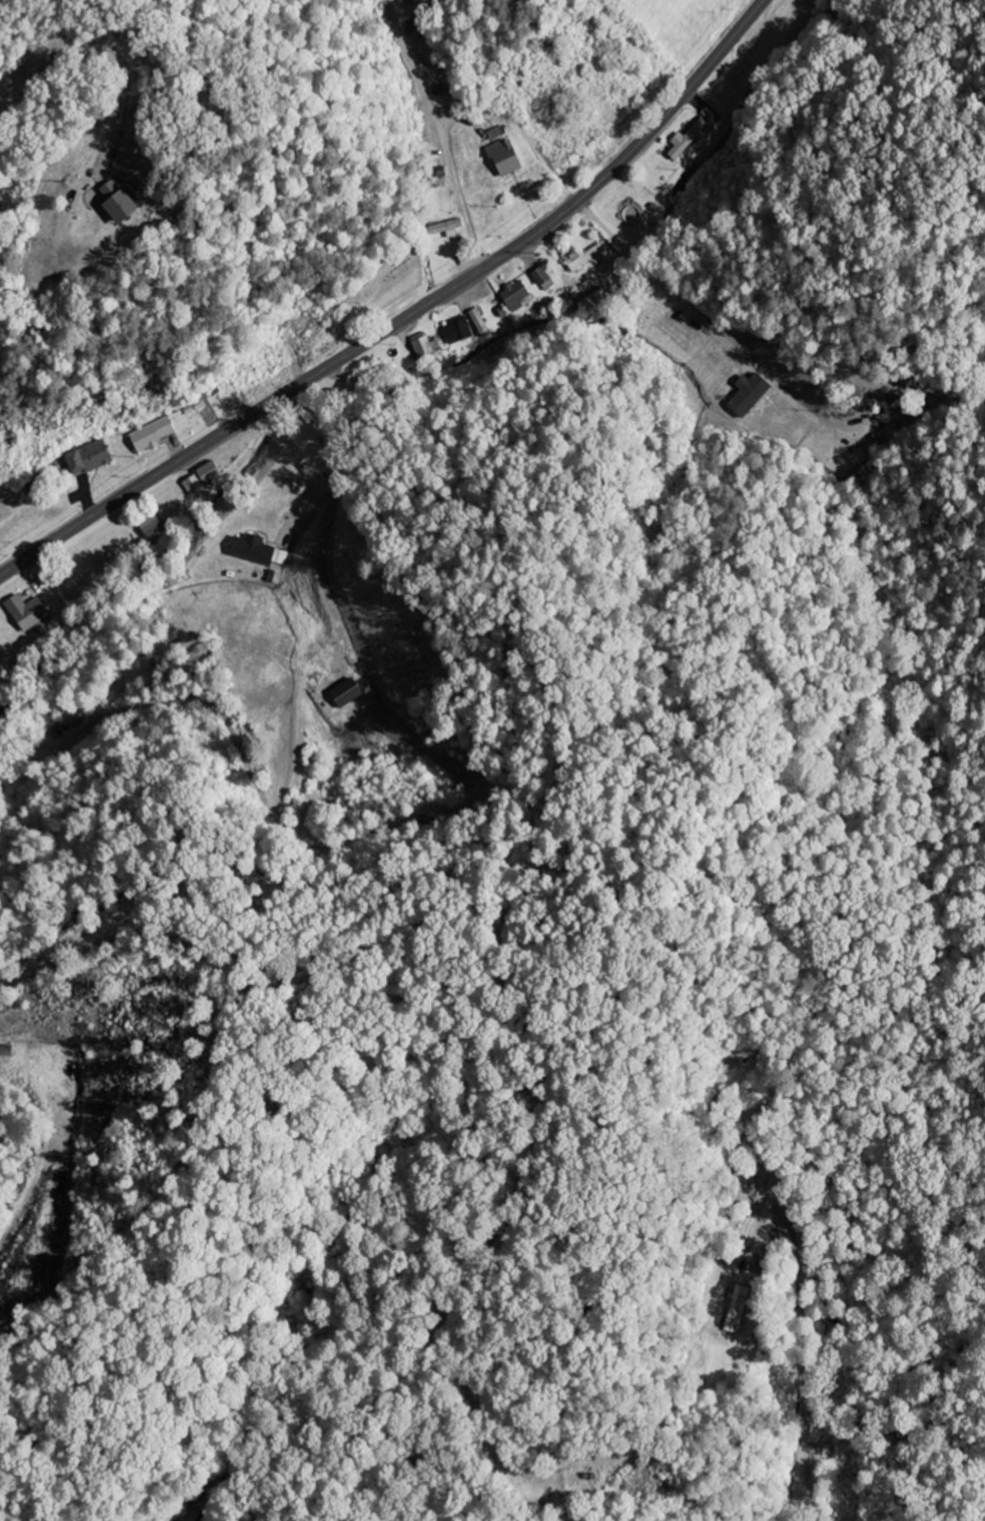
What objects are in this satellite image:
building: (707, 114)
building: (686, 140)
building: (503, 158)
building: (115, 202)
building: (445, 229)
building: (583, 258)
building: (541, 279)
building: (513, 296)
building: (593, 300)
road: (405, 317)
building: (478, 323)
building: (456, 331)
building: (424, 346)
building: (746, 394)
building: (151, 435)
building: (87, 458)
building: (199, 478)
building: (151, 530)
building: (249, 550)
building: (279, 557)
building: (25, 613)
building: (342, 694)
building: (737, 1310)
road: (565, 1328)

